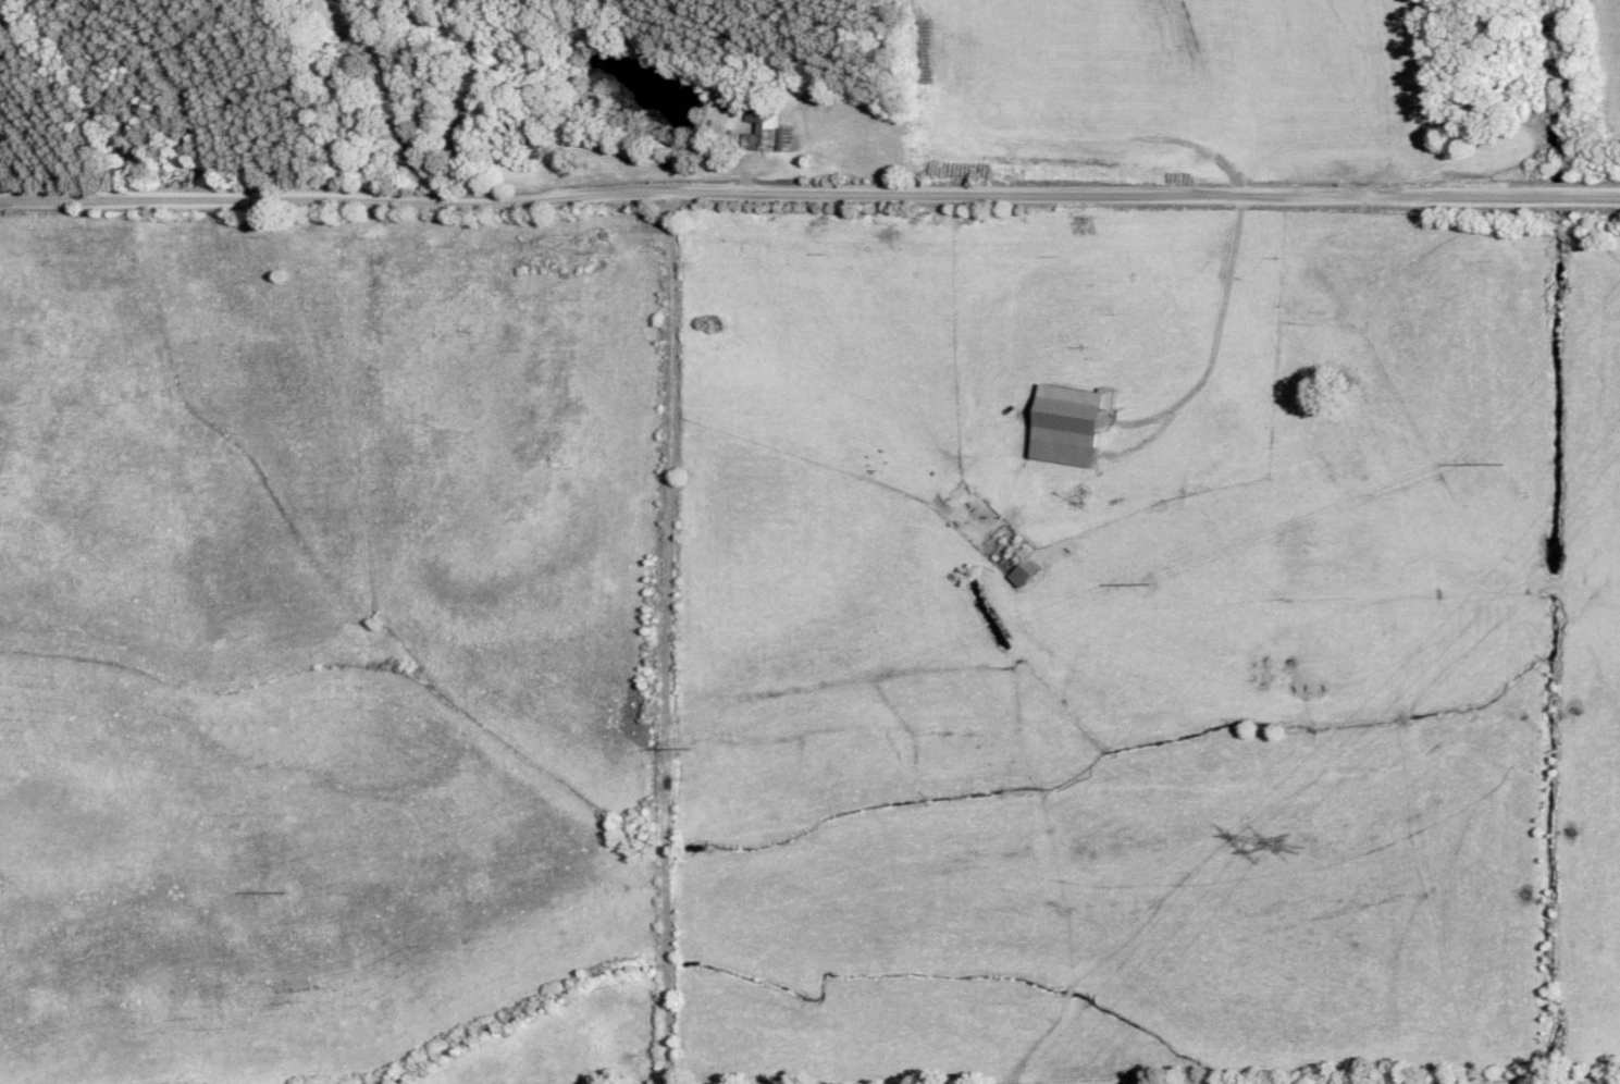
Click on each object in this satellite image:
building: (765, 128)
building: (534, 147)
road: (809, 194)
power tower: (1500, 458)
building: (1021, 572)
power tower: (1147, 581)
power tower: (687, 750)
power tower: (1283, 834)
power tower: (281, 890)

